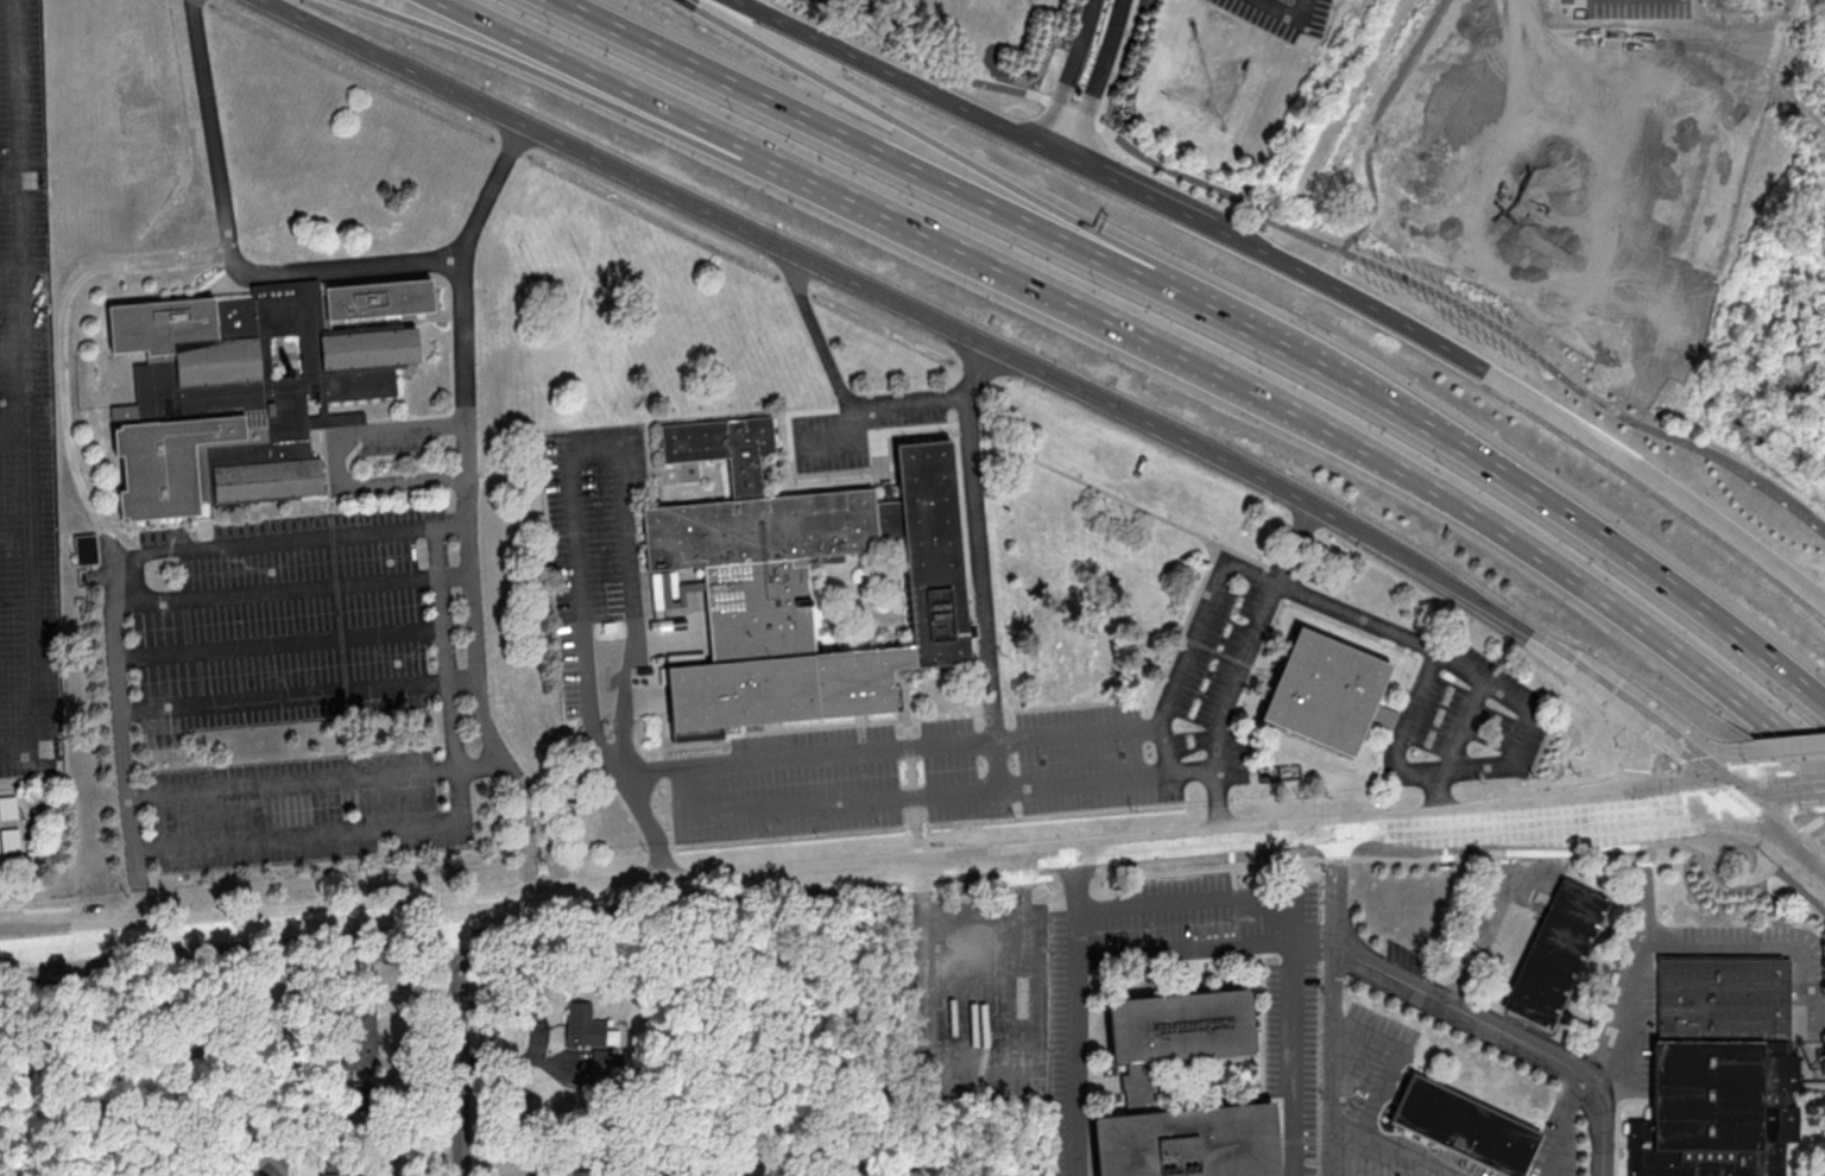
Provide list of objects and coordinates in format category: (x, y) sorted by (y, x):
parking lot: (1282, 11)
road: (1287, 12)
road: (547, 74)
road: (1071, 74)
road: (589, 75)
road: (903, 80)
road: (1101, 81)
road: (918, 139)
road: (850, 141)
road: (10, 176)
road: (838, 192)
road: (1147, 197)
road: (231, 246)
road: (11, 268)
road: (939, 321)
road: (1333, 377)
building: (250, 387)
road: (24, 392)
road: (1532, 399)
road: (851, 407)
road: (13, 436)
road: (339, 459)
road: (463, 463)
road: (1397, 468)
building: (87, 549)
road: (1819, 559)
road: (122, 580)
building: (807, 583)
road: (1671, 587)
road: (277, 588)
road: (610, 606)
road: (283, 644)
road: (1451, 659)
road: (1236, 677)
building: (1325, 690)
road: (1609, 693)
road: (289, 698)
road: (1654, 728)
road: (1057, 734)
road: (1773, 746)
road: (1704, 753)
road: (757, 760)
road: (1638, 763)
road: (482, 764)
road: (1204, 773)
road: (1707, 774)
road: (296, 783)
road: (1807, 786)
road: (1758, 791)
traffic signals: (1729, 795)
road: (1661, 801)
building: (8, 807)
road: (1814, 822)
road: (448, 826)
road: (1776, 834)
road: (1794, 841)
road: (1747, 845)
road: (551, 849)
road: (528, 852)
road: (1349, 856)
road: (797, 878)
road: (1799, 889)
road: (1186, 903)
parking lot: (1503, 908)
road: (34, 909)
road: (1498, 912)
road: (444, 927)
road: (1762, 947)
road: (1186, 950)
building: (1559, 957)
parking lot: (1414, 969)
parking lot: (1633, 979)
road: (1633, 992)
building: (1726, 1001)
road: (1335, 1003)
road: (1292, 1005)
road: (1079, 1013)
building: (583, 1026)
road: (1508, 1033)
building: (360, 1039)
road: (456, 1042)
building: (202, 1051)
building: (602, 1067)
building: (1143, 1083)
parking lot: (1382, 1101)
road: (1375, 1107)
building: (320, 1109)
building: (1720, 1111)
road: (1565, 1124)
building: (1466, 1130)
road: (1616, 1130)
road: (1347, 1139)
road: (1623, 1145)
parking lot: (1554, 1162)
building: (333, 1172)

